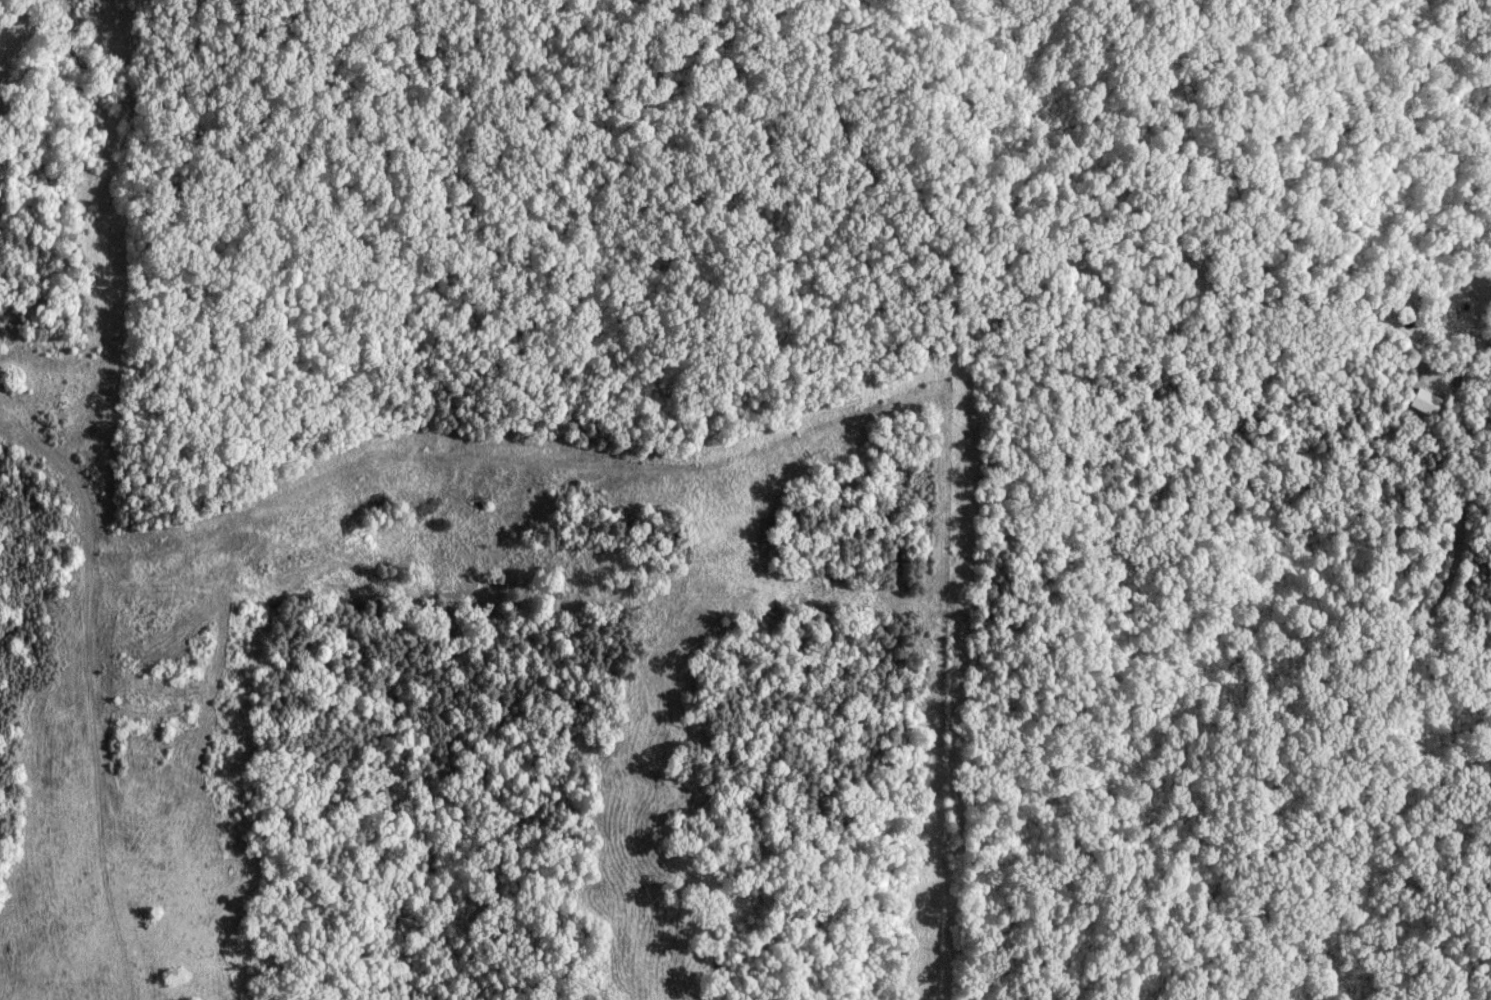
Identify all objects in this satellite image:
road: (1336, 748)

